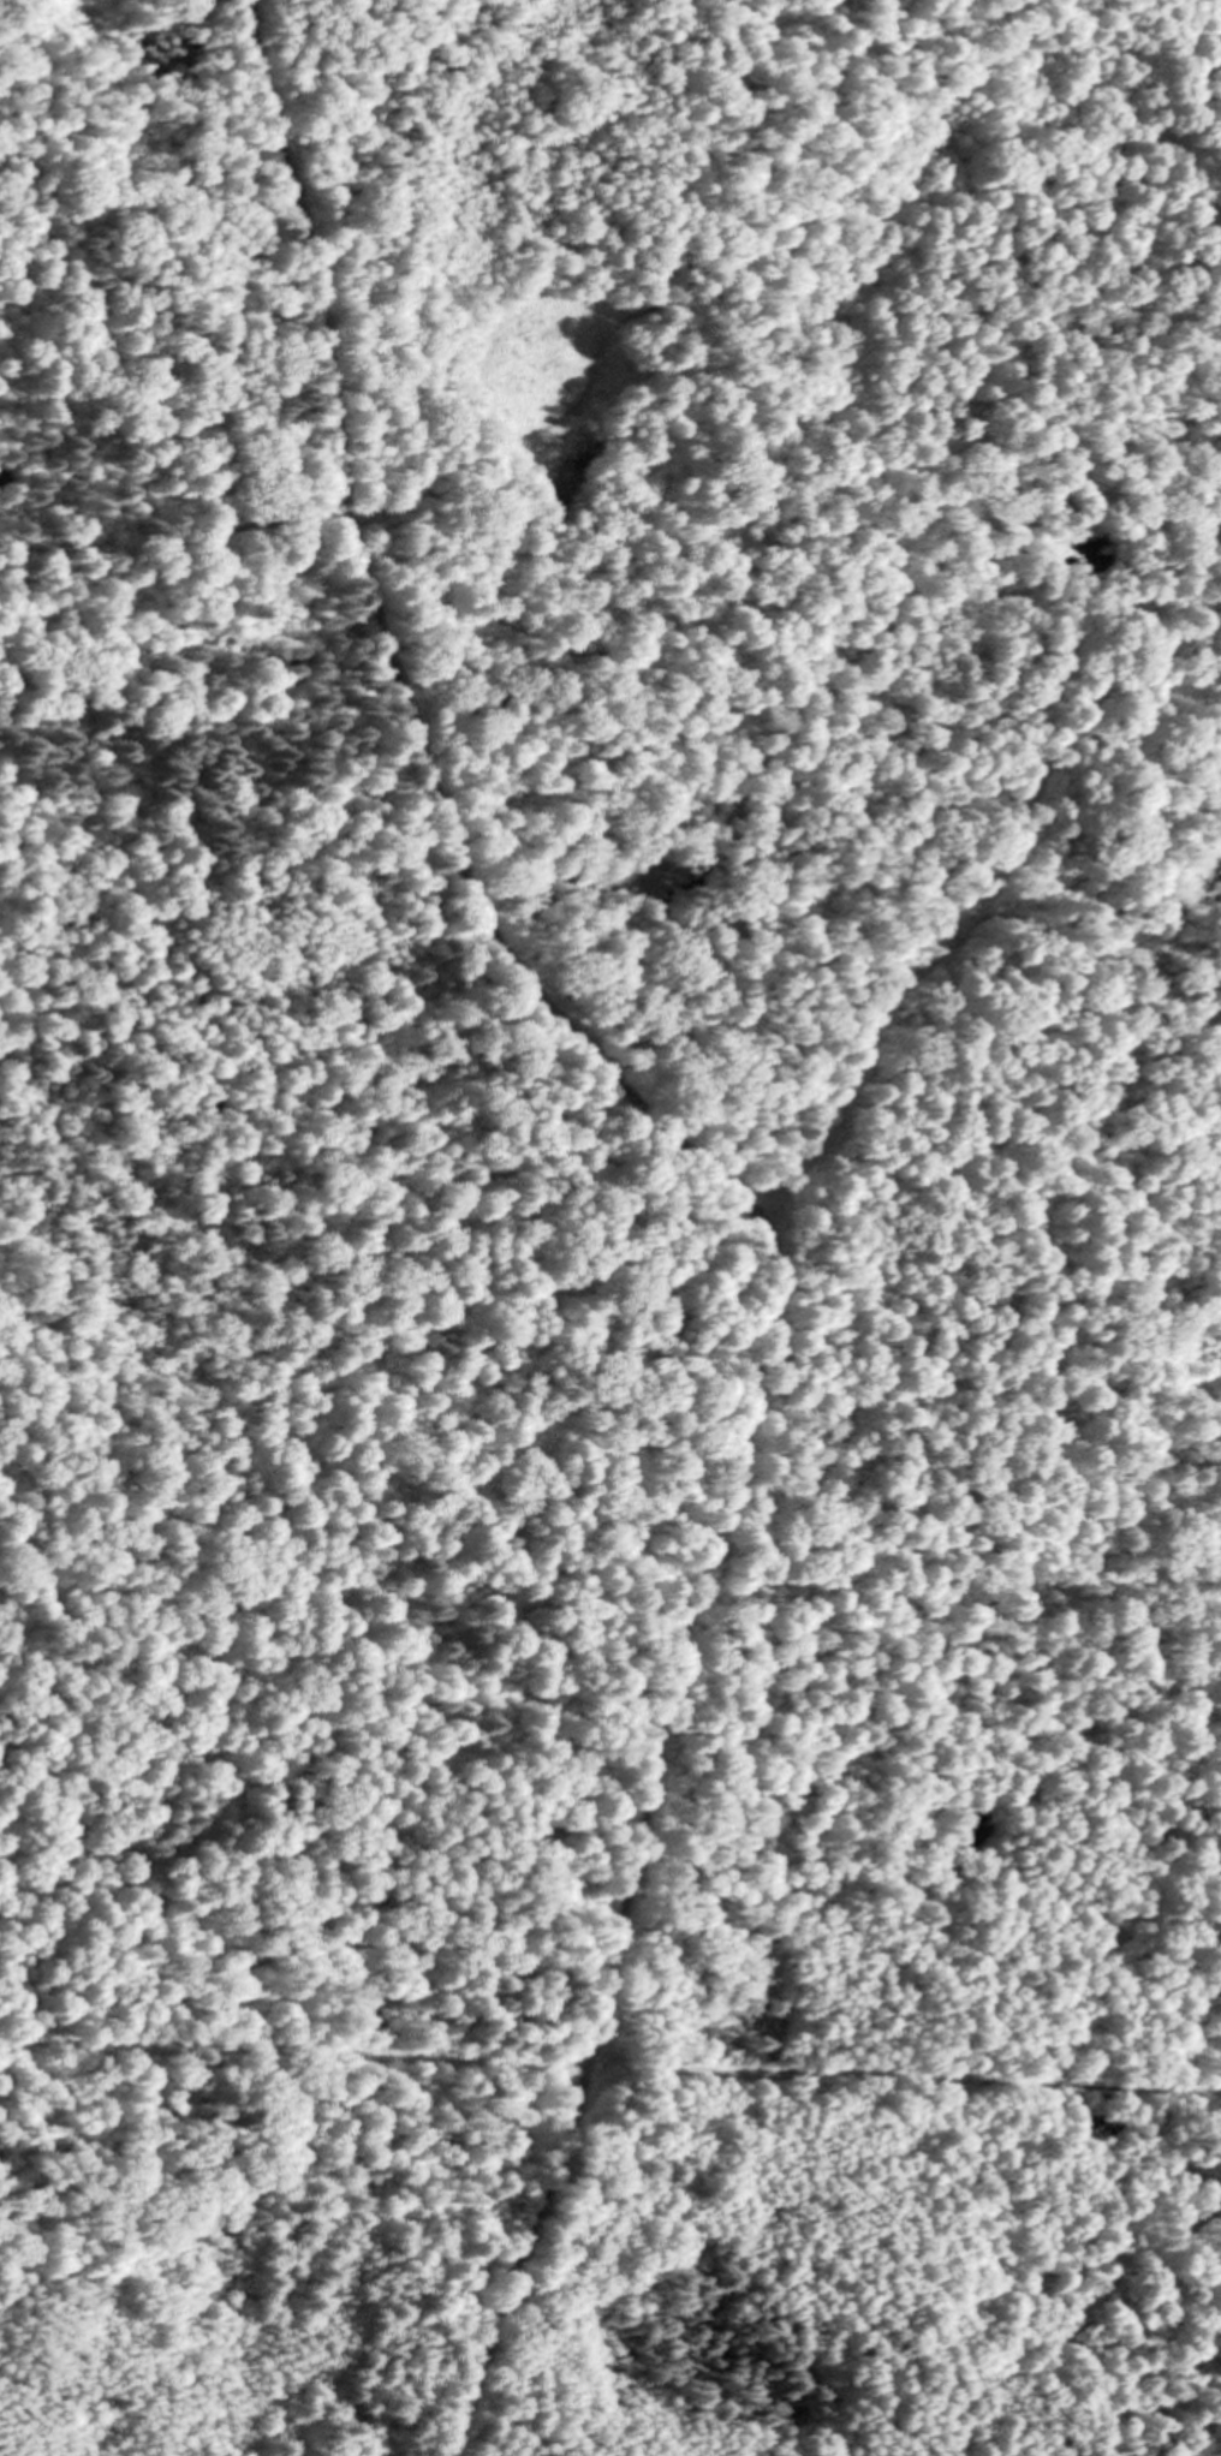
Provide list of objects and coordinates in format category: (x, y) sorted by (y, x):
road: (1073, 180)
road: (397, 676)
road: (627, 681)
road: (639, 1853)
road: (609, 2058)

